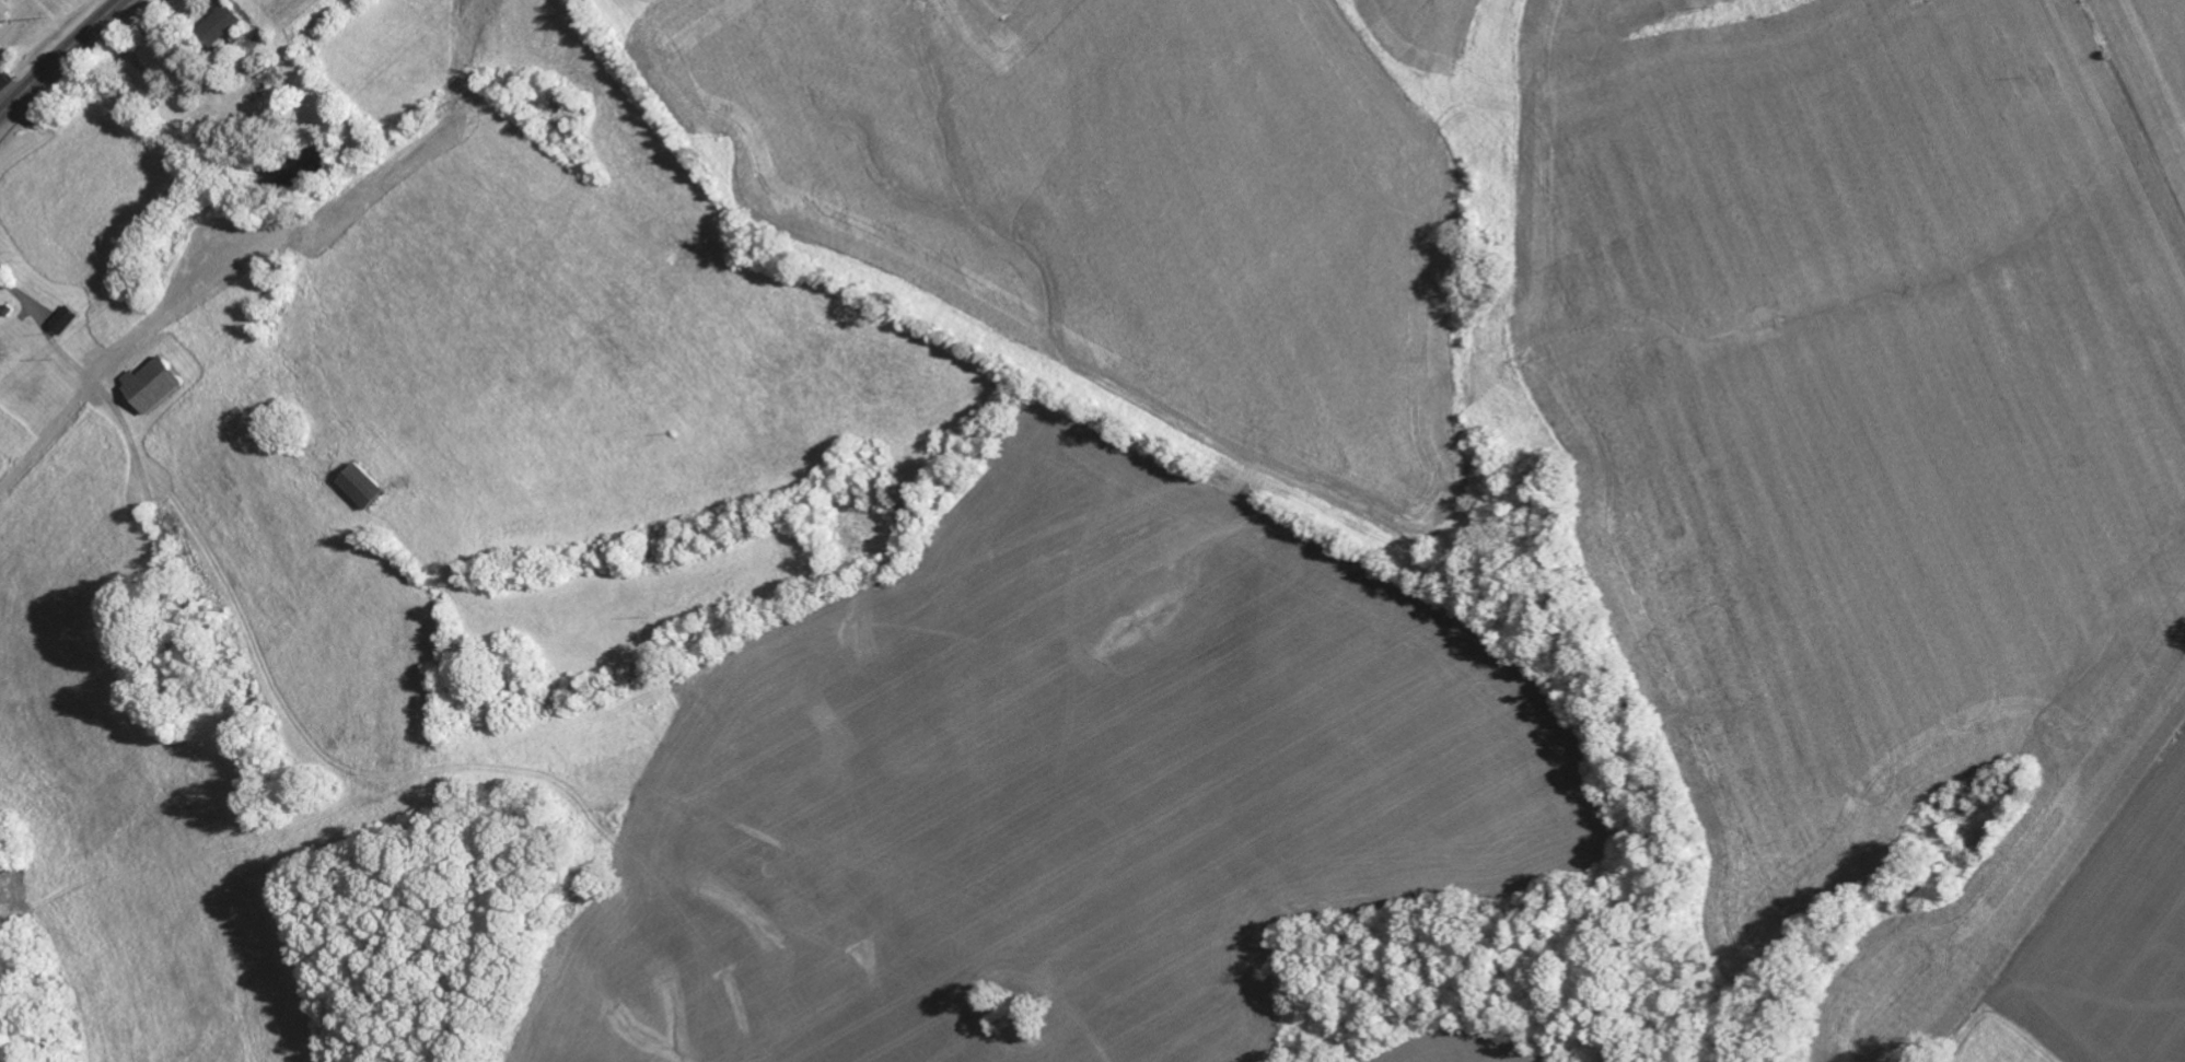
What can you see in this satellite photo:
building: (3, 11)
building: (219, 28)
road: (61, 57)
building: (0, 314)
building: (150, 387)
road: (93, 417)
building: (365, 490)

